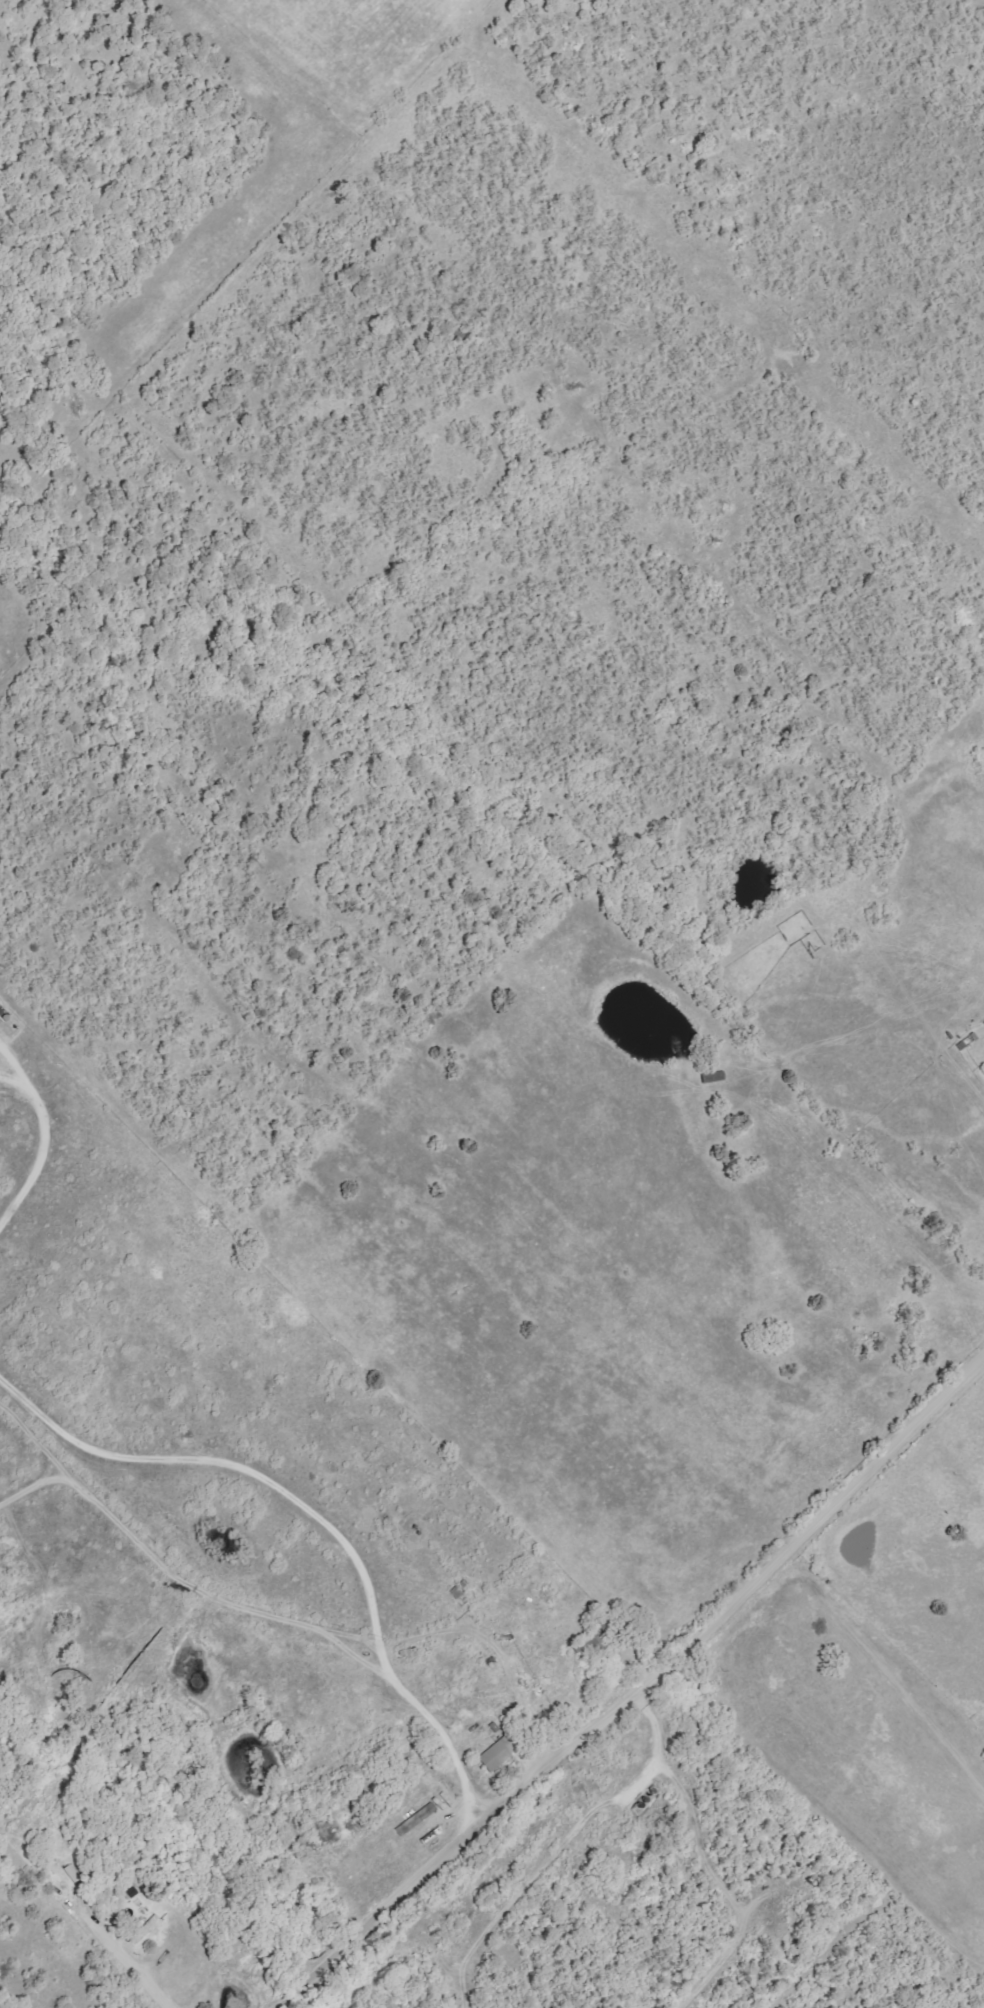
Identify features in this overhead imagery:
road: (297, 106)
road: (623, 1467)
road: (641, 1688)
road: (372, 1725)
building: (496, 1754)

